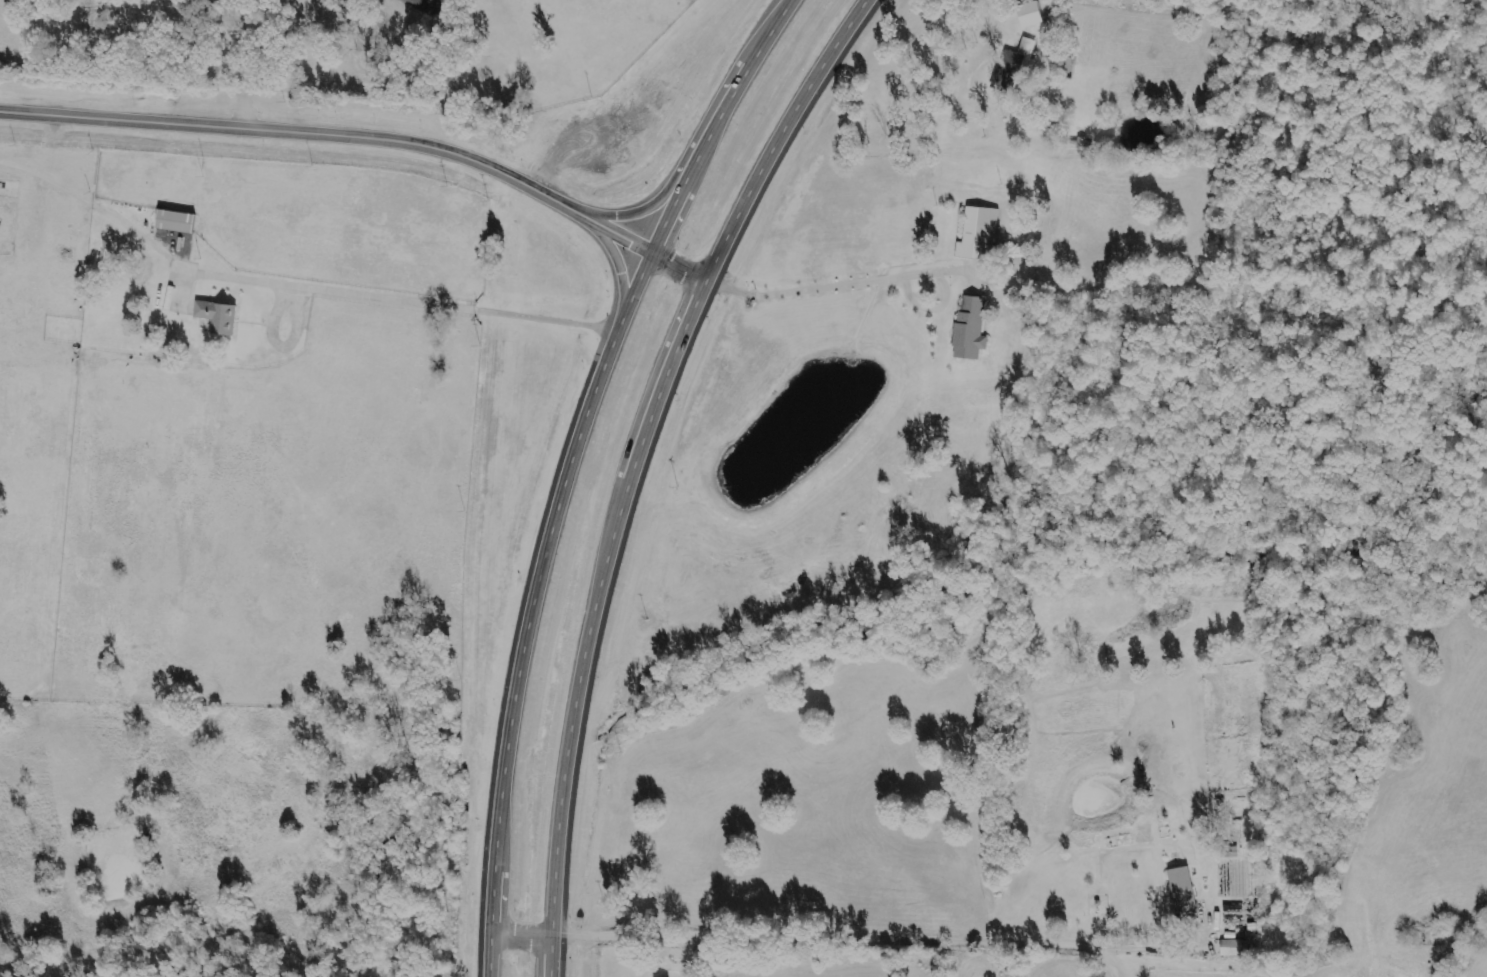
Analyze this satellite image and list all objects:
road: (984, 13)
building: (1035, 14)
road: (239, 64)
building: (1011, 68)
road: (367, 141)
road: (39, 169)
building: (8, 222)
building: (172, 224)
building: (975, 234)
building: (62, 258)
road: (864, 278)
road: (336, 288)
building: (215, 320)
building: (967, 331)
road: (631, 463)
road: (570, 466)
building: (1179, 892)
road: (822, 930)
building: (1231, 951)

